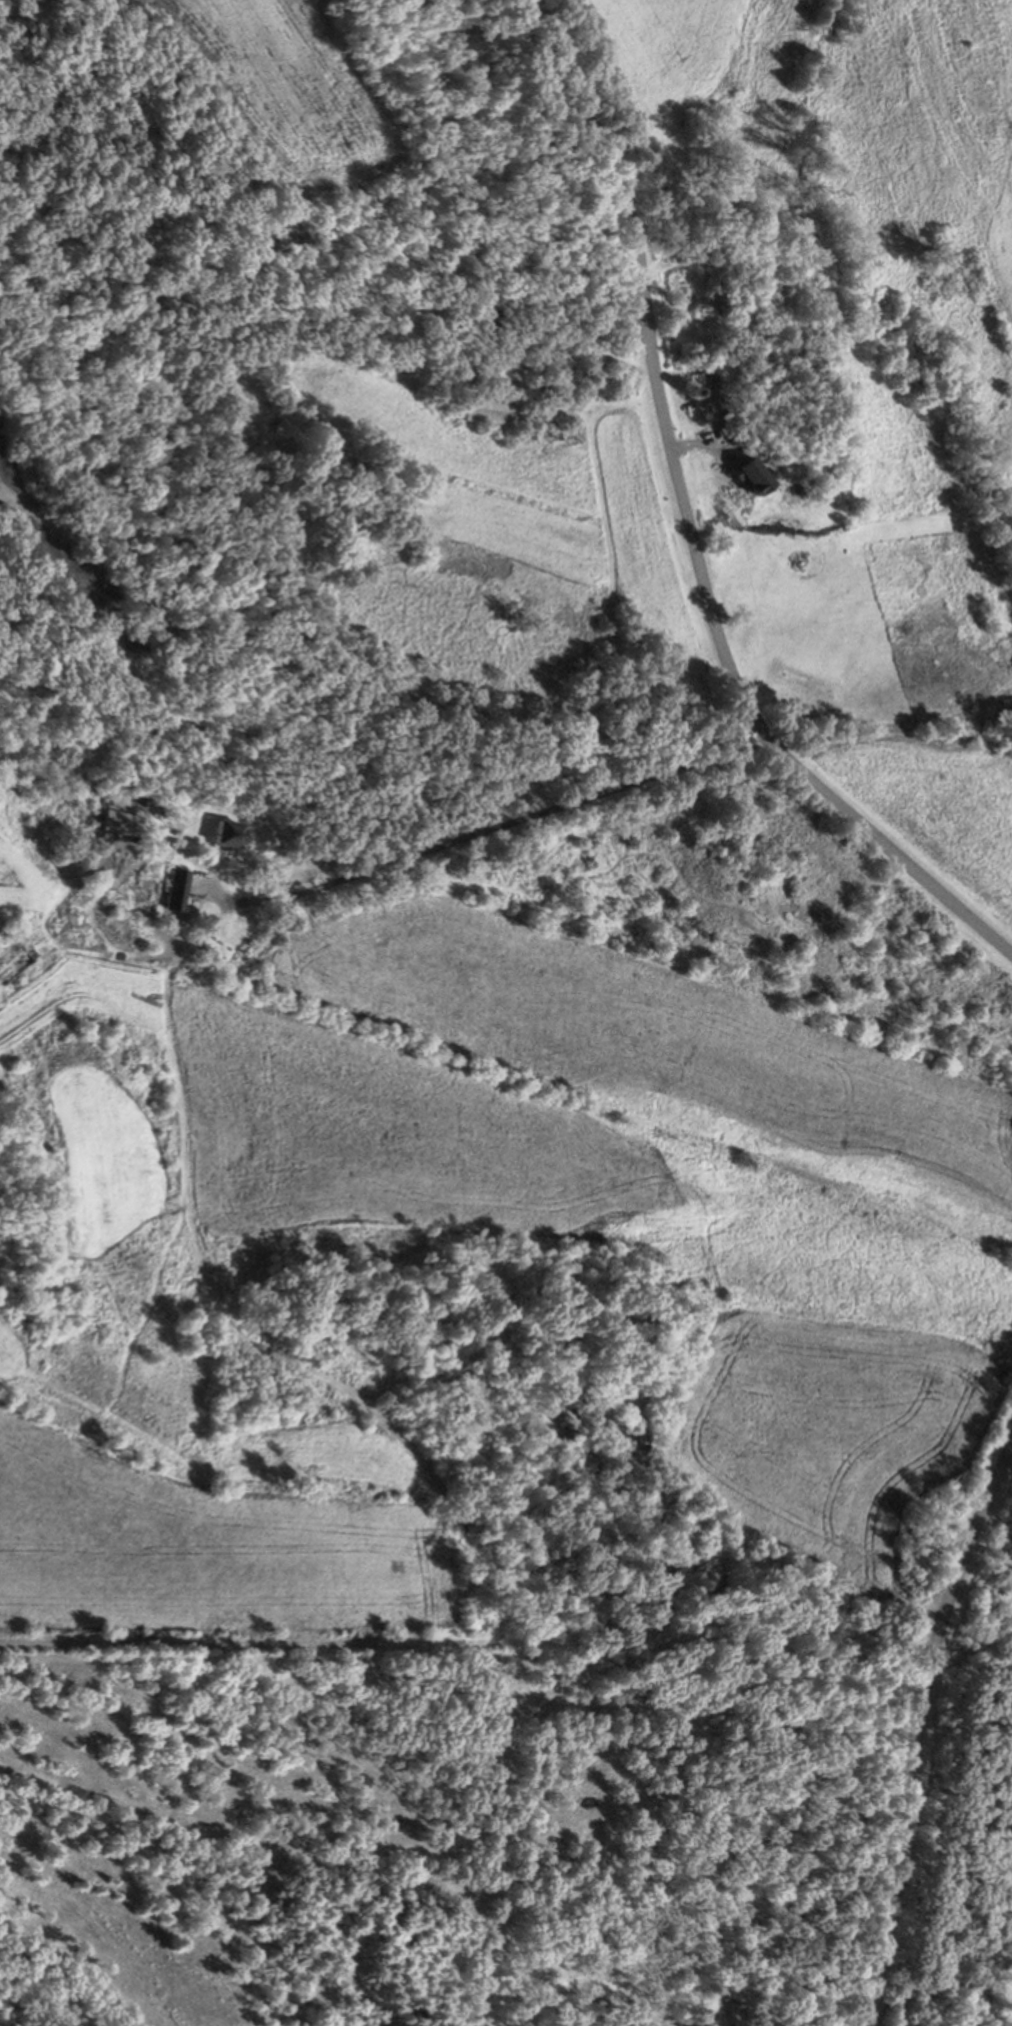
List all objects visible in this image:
building: (751, 259)
building: (724, 307)
building: (482, 319)
building: (753, 336)
building: (815, 358)
building: (709, 390)
building: (486, 407)
building: (750, 474)
road: (689, 525)
building: (119, 823)
road: (487, 830)
building: (230, 833)
building: (174, 888)
building: (15, 959)
road: (916, 1730)

